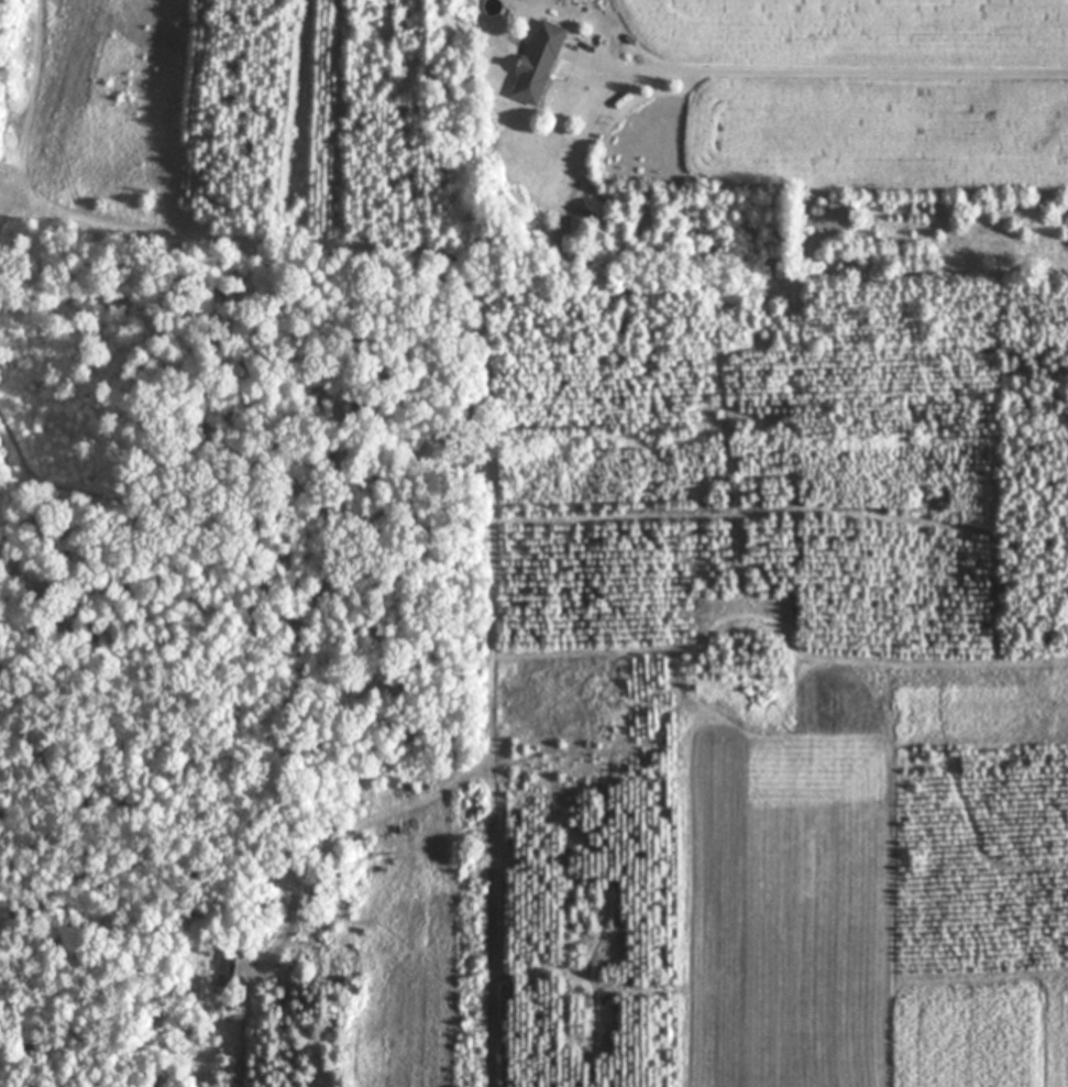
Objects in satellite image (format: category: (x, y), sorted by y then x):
building: (539, 62)
road: (845, 70)
building: (227, 967)

